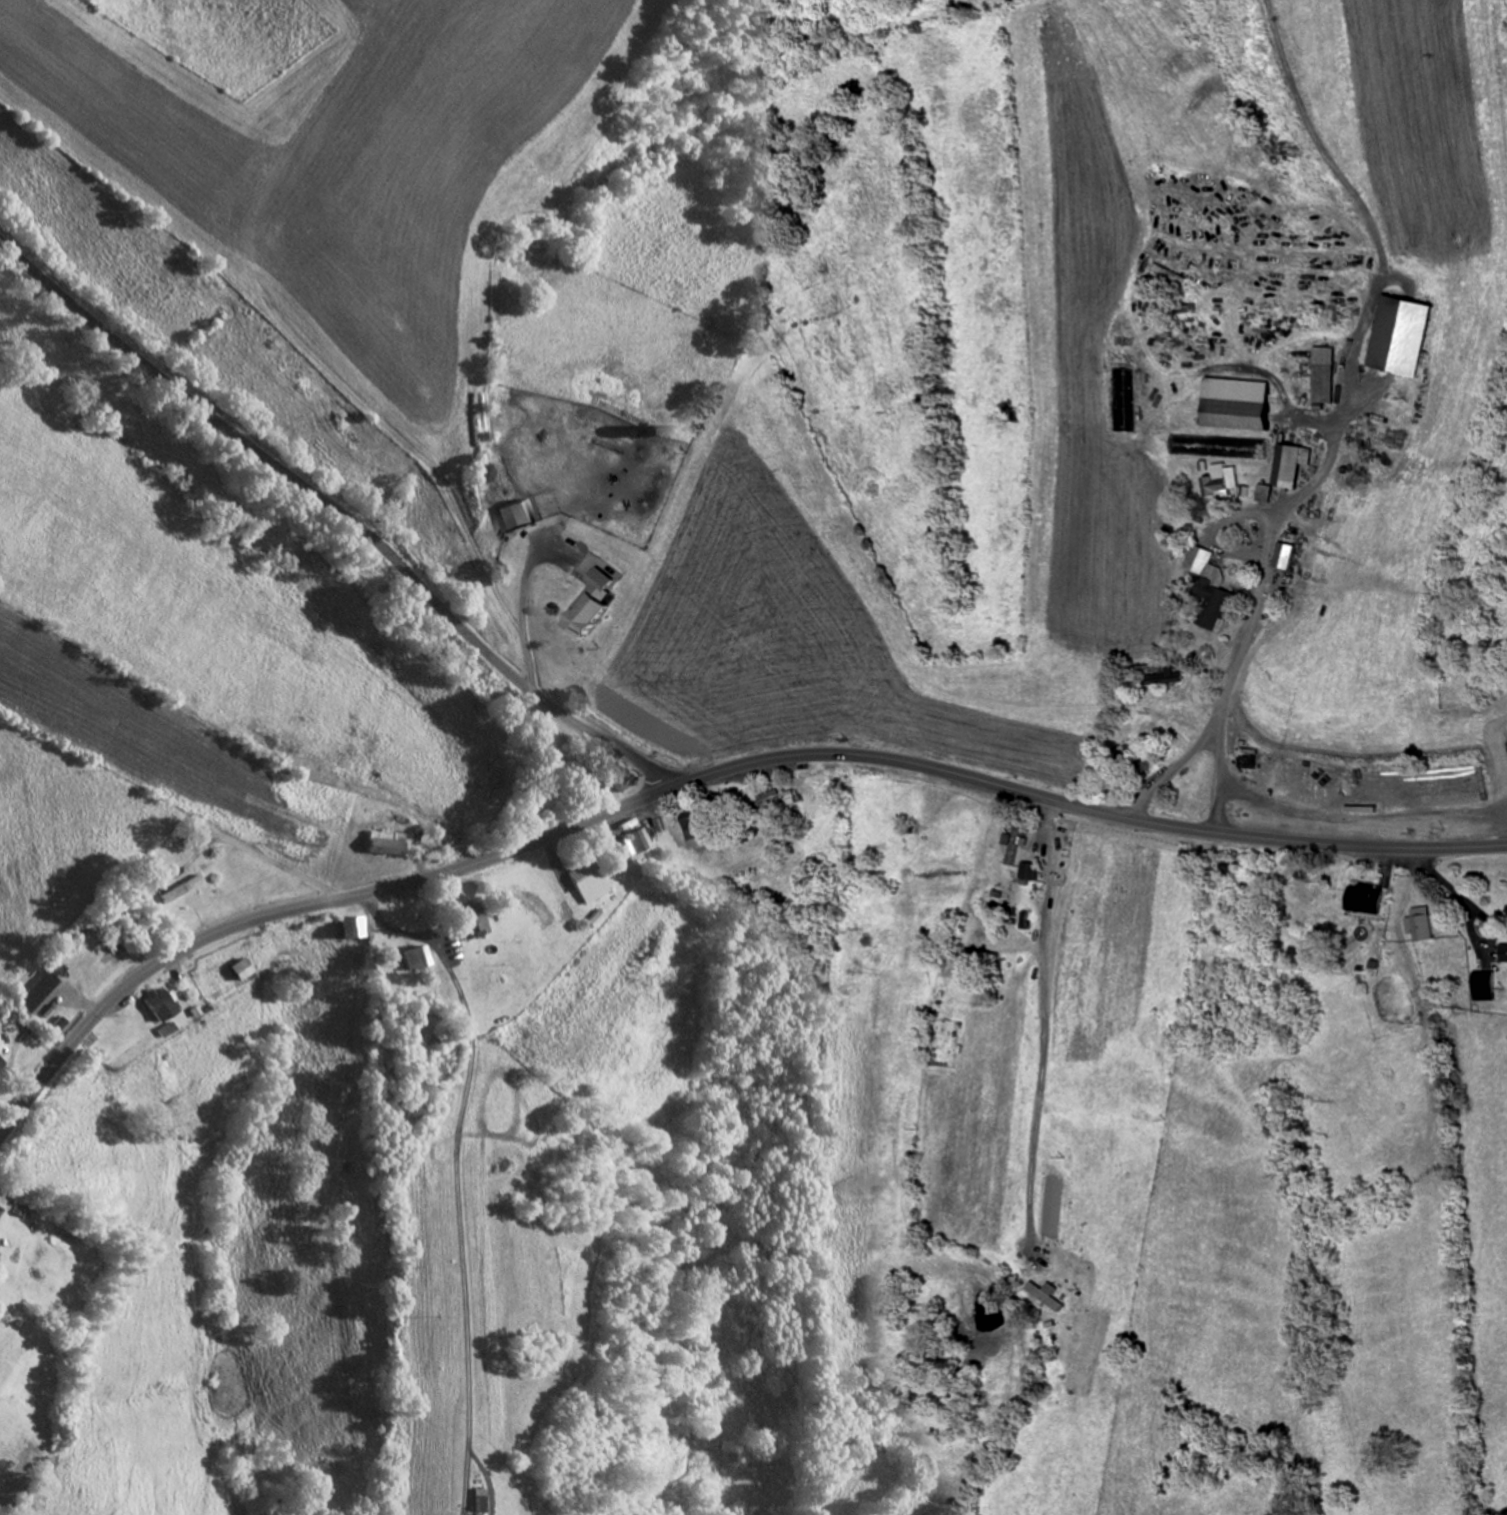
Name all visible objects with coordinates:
road: (280, 292)
building: (1333, 374)
road: (934, 380)
building: (1130, 391)
building: (1248, 403)
building: (1222, 447)
building: (1298, 464)
building: (1228, 480)
building: (1270, 493)
road: (341, 512)
building: (520, 516)
road: (1262, 520)
building: (1291, 555)
building: (1211, 589)
building: (592, 605)
road: (1226, 695)
building: (1123, 757)
road: (705, 777)
building: (623, 780)
building: (781, 799)
building: (385, 842)
building: (1017, 845)
building: (1033, 872)
building: (592, 881)
building: (1251, 886)
building: (191, 893)
building: (1372, 898)
building: (477, 923)
building: (1426, 924)
building: (357, 928)
building: (144, 932)
building: (1502, 953)
building: (417, 959)
building: (984, 963)
building: (250, 969)
building: (41, 992)
building: (166, 1005)
building: (170, 1030)
building: (2, 1065)
building: (6, 1202)

